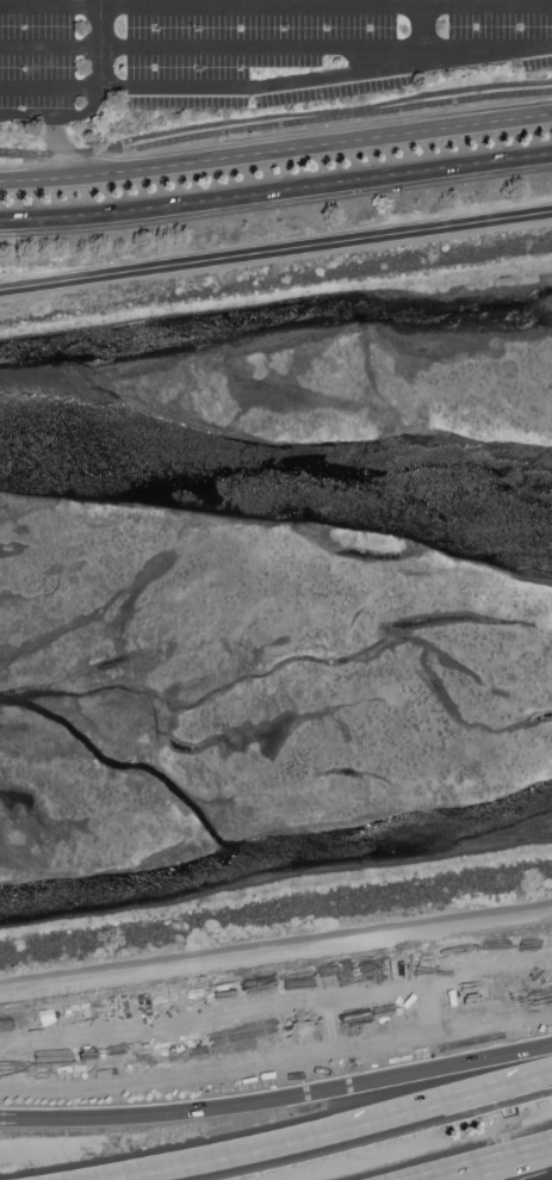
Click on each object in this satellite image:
road: (275, 7)
road: (105, 24)
road: (421, 31)
road: (210, 48)
parking lot: (244, 50)
road: (328, 75)
road: (70, 87)
road: (334, 111)
road: (58, 113)
road: (275, 146)
road: (58, 154)
road: (104, 161)
road: (35, 168)
road: (275, 194)
road: (275, 251)
river: (277, 478)
road: (275, 944)
road: (430, 1073)
road: (490, 1089)
road: (155, 1116)
road: (347, 1128)
road: (186, 1164)
road: (496, 1164)
road: (547, 1178)

